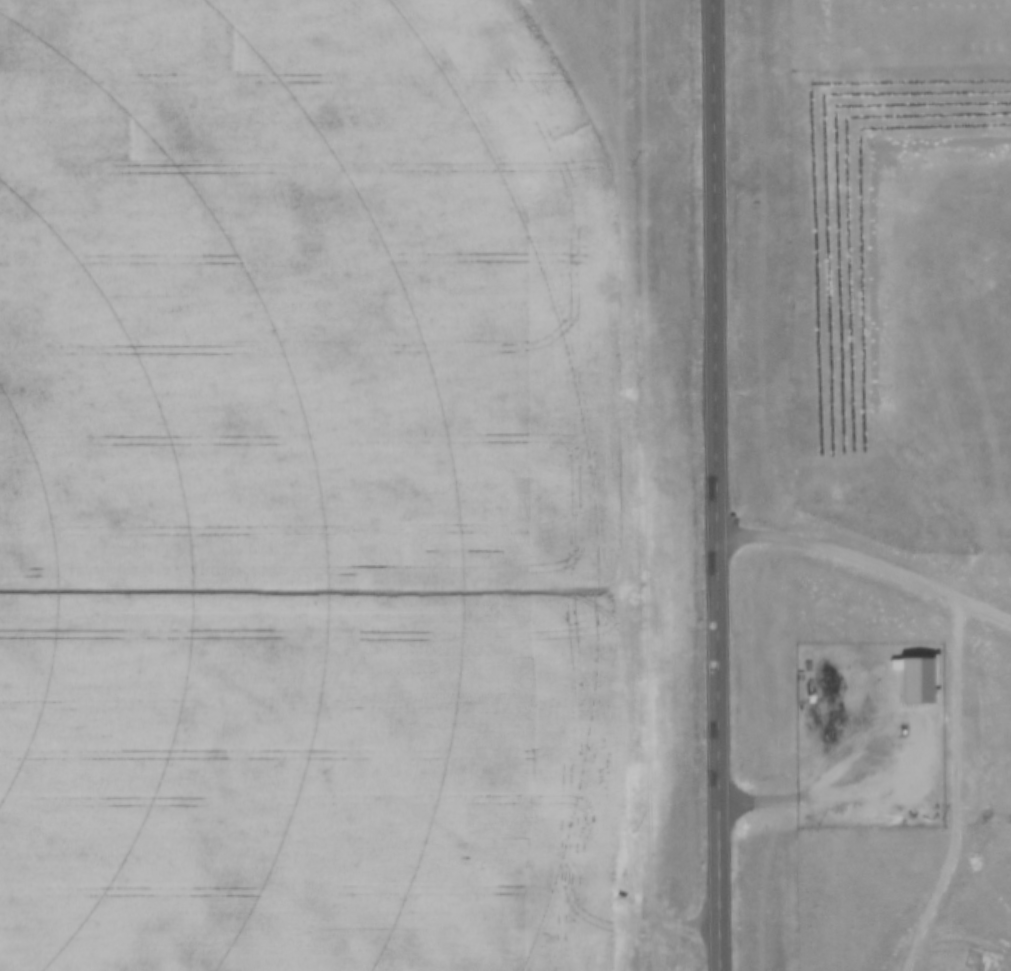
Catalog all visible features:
road: (713, 485)
road: (866, 558)
building: (914, 677)
road: (833, 785)

